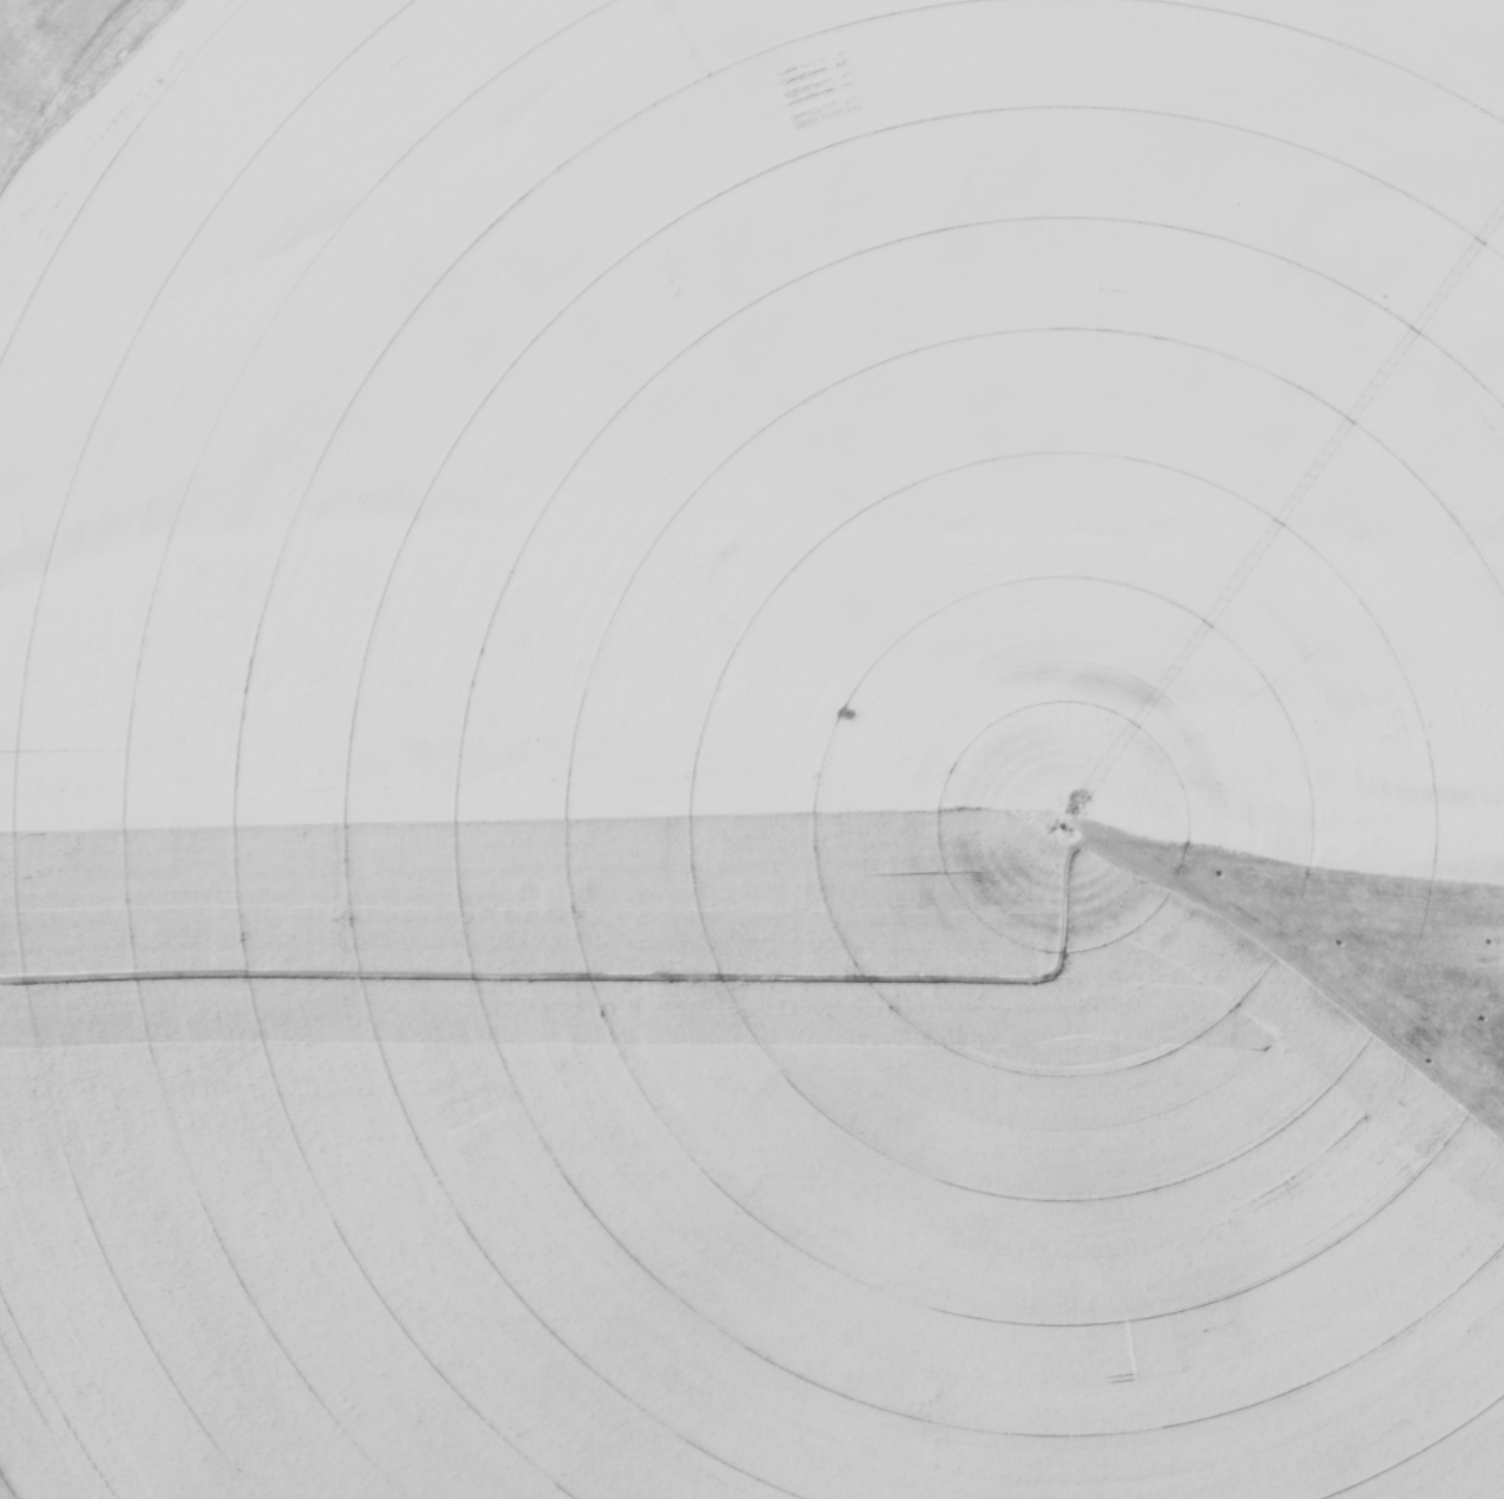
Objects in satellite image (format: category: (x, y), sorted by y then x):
building: (1475, 541)
building: (1371, 574)
building: (804, 1041)

